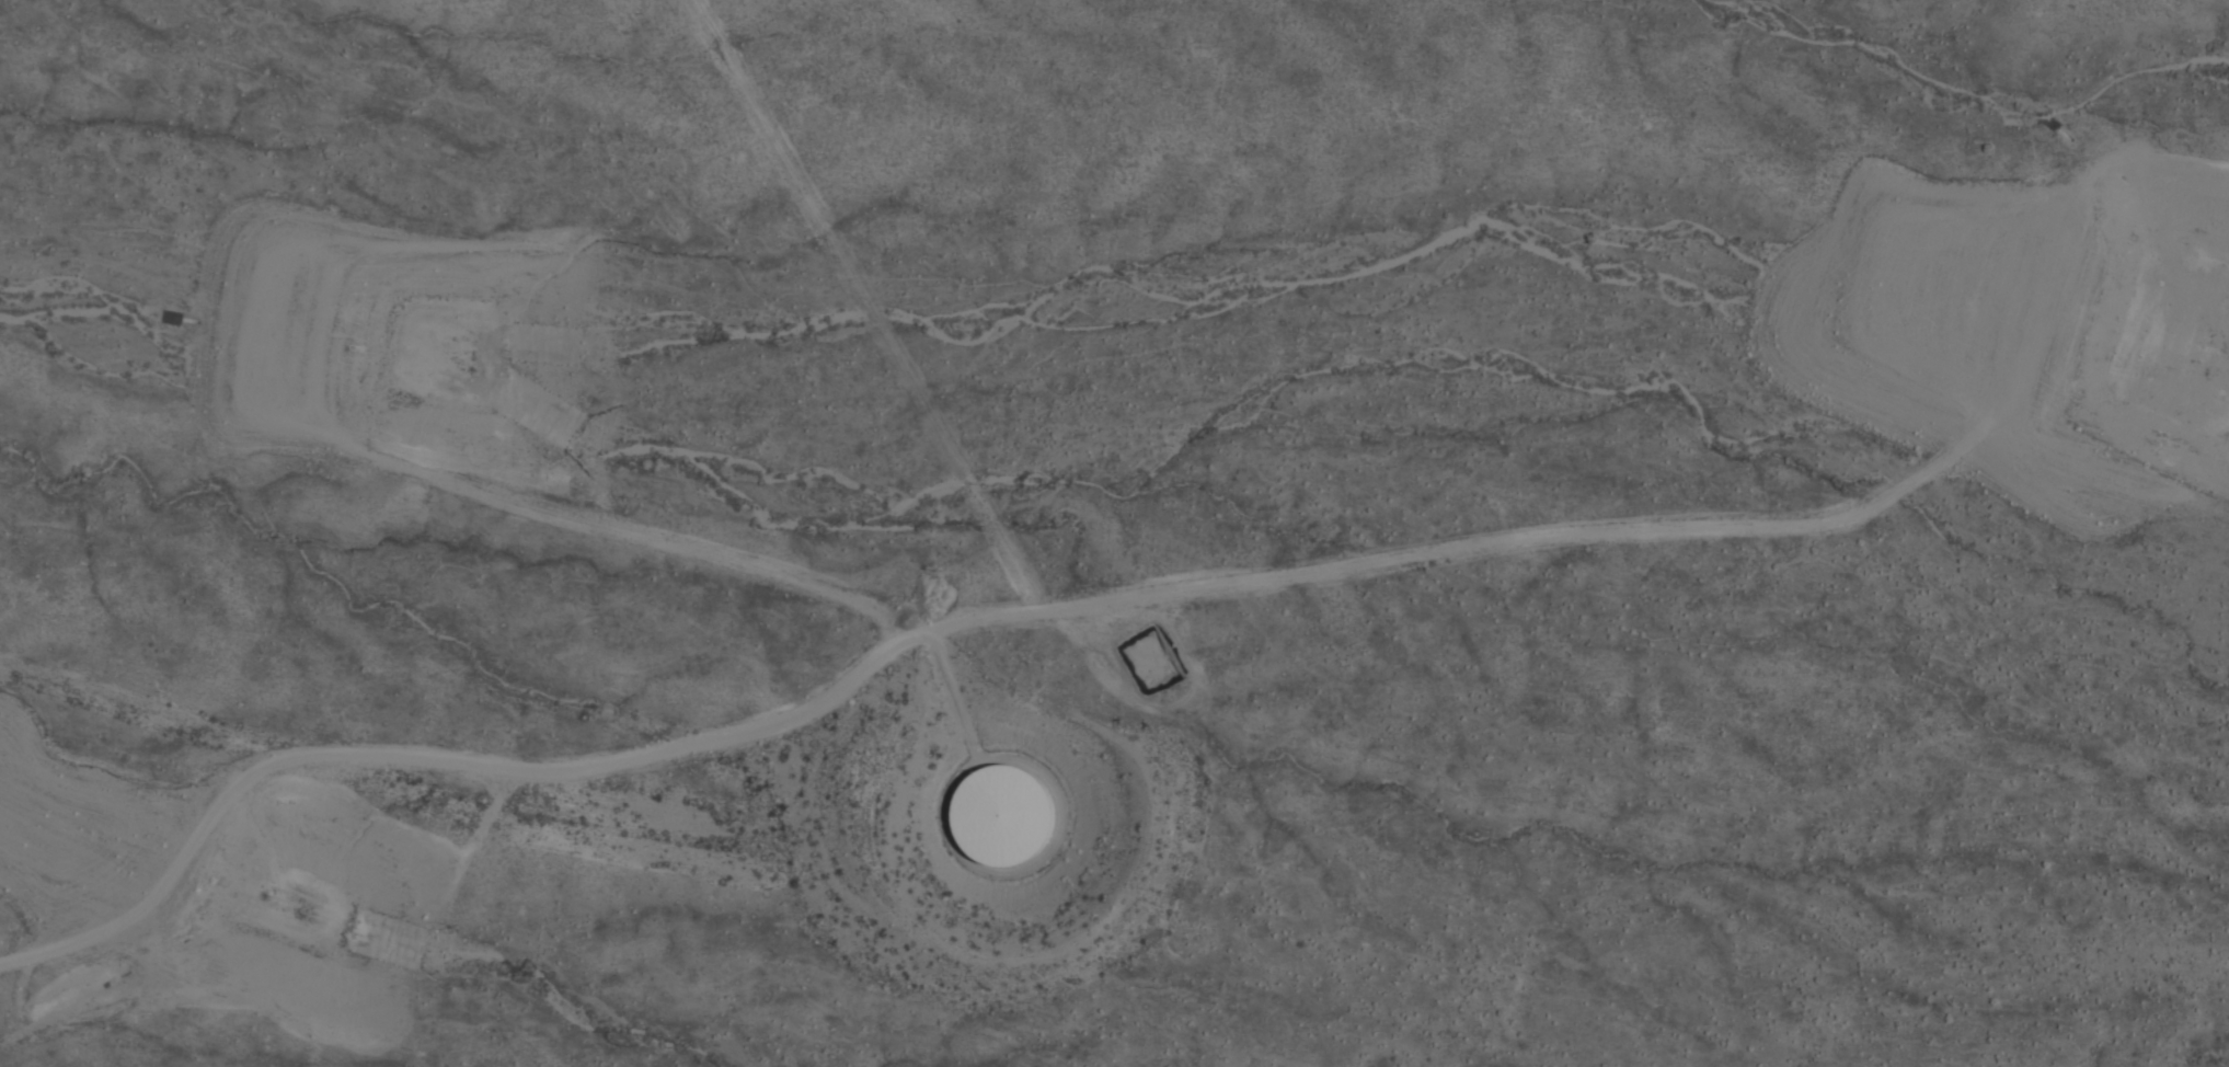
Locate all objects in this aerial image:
building: (1001, 815)

